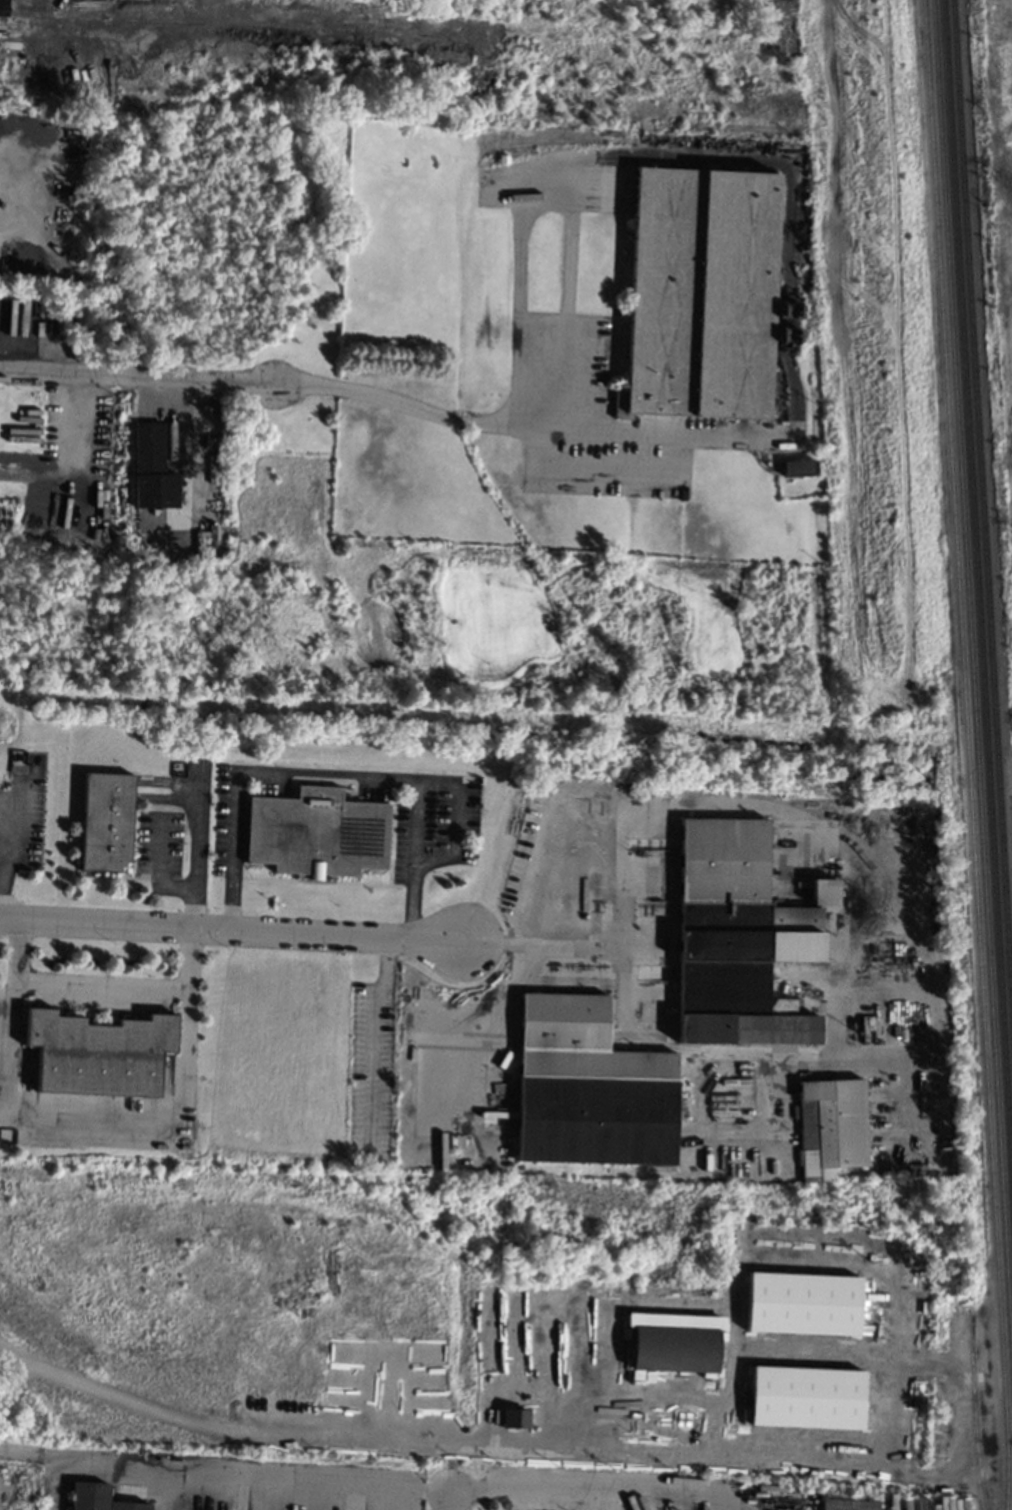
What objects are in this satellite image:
building: (3, 7)
building: (503, 158)
road: (519, 267)
building: (703, 294)
road: (139, 378)
road: (181, 425)
road: (484, 426)
road: (71, 458)
building: (151, 467)
parking lot: (608, 467)
building: (798, 467)
railway: (982, 500)
railway: (977, 592)
railway: (972, 686)
railway: (968, 754)
road: (325, 776)
building: (104, 822)
road: (455, 822)
building: (316, 834)
road: (195, 851)
road: (7, 852)
building: (823, 891)
road: (237, 928)
building: (736, 937)
road: (596, 946)
road: (101, 990)
road: (12, 1001)
building: (98, 1053)
building: (589, 1087)
road: (181, 1114)
building: (830, 1126)
building: (802, 1302)
building: (710, 1311)
building: (674, 1348)
building: (682, 1397)
building: (806, 1397)
railway: (974, 1405)
building: (514, 1418)
building: (686, 1419)
road: (196, 1422)
building: (721, 1427)
road: (19, 1453)
road: (224, 1470)
building: (98, 1498)
road: (449, 1502)
building: (848, 1504)

